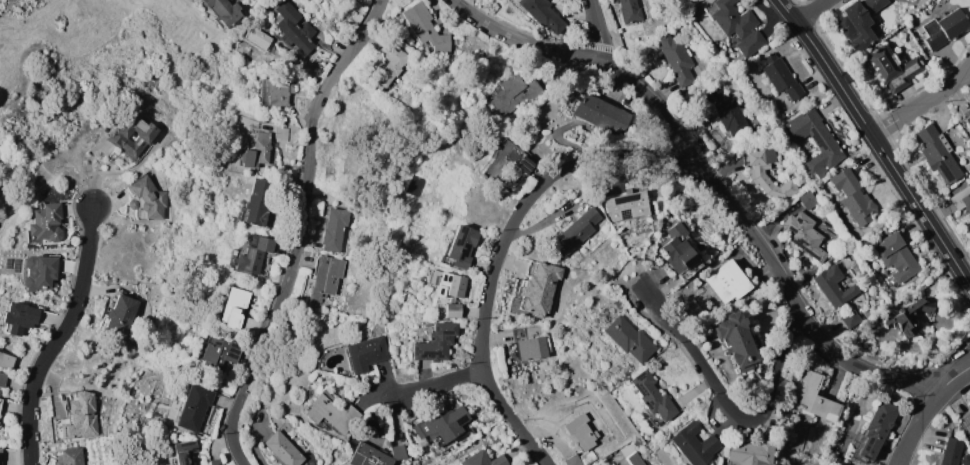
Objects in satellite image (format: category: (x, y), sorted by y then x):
building: (873, 5)
road: (809, 10)
building: (223, 11)
building: (630, 11)
building: (544, 14)
building: (738, 26)
building: (855, 26)
building: (426, 27)
building: (942, 28)
building: (293, 29)
road: (598, 34)
building: (457, 41)
building: (677, 59)
building: (392, 65)
building: (891, 67)
building: (780, 76)
building: (275, 94)
building: (515, 94)
road: (920, 103)
building: (728, 111)
building: (600, 113)
building: (968, 118)
building: (279, 133)
building: (117, 138)
building: (815, 141)
road: (876, 142)
building: (257, 151)
building: (938, 153)
road: (30, 154)
building: (509, 163)
building: (758, 176)
road: (710, 178)
road: (44, 185)
building: (853, 197)
building: (962, 198)
building: (147, 199)
building: (807, 200)
building: (259, 204)
building: (628, 205)
road: (531, 207)
building: (46, 222)
building: (335, 228)
road: (300, 229)
building: (575, 233)
building: (804, 234)
building: (462, 246)
building: (699, 247)
building: (679, 254)
building: (254, 255)
building: (896, 257)
building: (39, 273)
building: (327, 278)
building: (728, 281)
building: (446, 284)
building: (893, 284)
building: (833, 285)
building: (538, 287)
building: (618, 303)
building: (453, 310)
building: (239, 311)
building: (121, 315)
building: (910, 316)
building: (20, 317)
building: (850, 318)
road: (60, 336)
building: (628, 338)
building: (738, 340)
building: (435, 342)
building: (529, 345)
building: (219, 351)
building: (366, 353)
building: (6, 360)
building: (2, 379)
road: (434, 385)
building: (653, 398)
building: (815, 398)
building: (0, 401)
building: (194, 407)
road: (729, 407)
road: (925, 408)
building: (160, 410)
building: (331, 412)
building: (156, 416)
building: (78, 418)
road: (511, 418)
building: (965, 421)
building: (442, 426)
building: (874, 431)
building: (581, 432)
building: (168, 440)
building: (694, 444)
building: (283, 449)
building: (951, 451)
building: (184, 452)
building: (631, 453)
building: (748, 453)
building: (0, 455)
building: (375, 455)
building: (70, 456)
building: (587, 456)
building: (484, 459)
building: (835, 459)
building: (966, 459)
building: (573, 460)
building: (216, 461)

